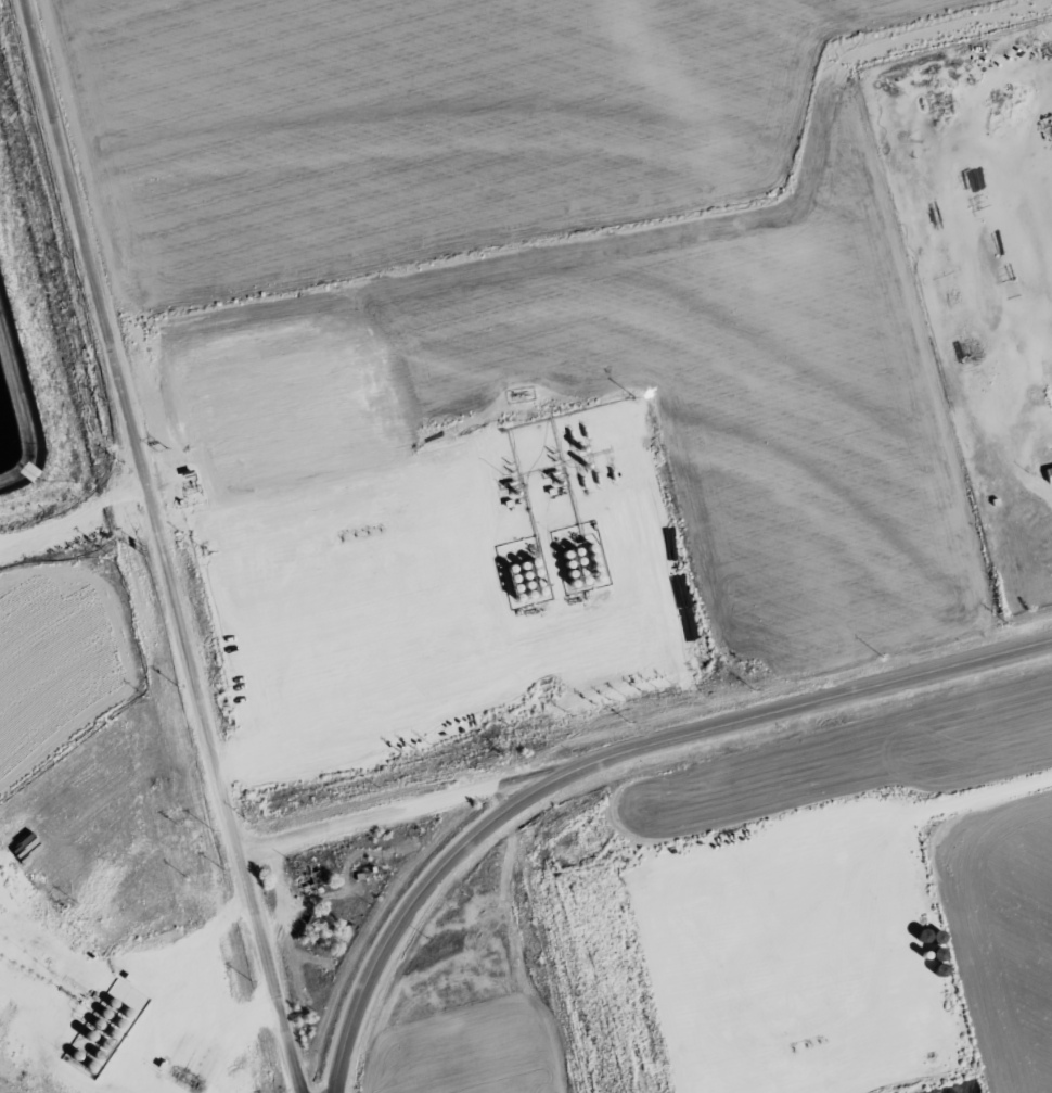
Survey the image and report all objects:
road: (128, 422)
building: (1048, 473)
road: (607, 754)
road: (393, 805)
building: (306, 876)
building: (476, 894)
building: (326, 928)
road: (267, 968)

